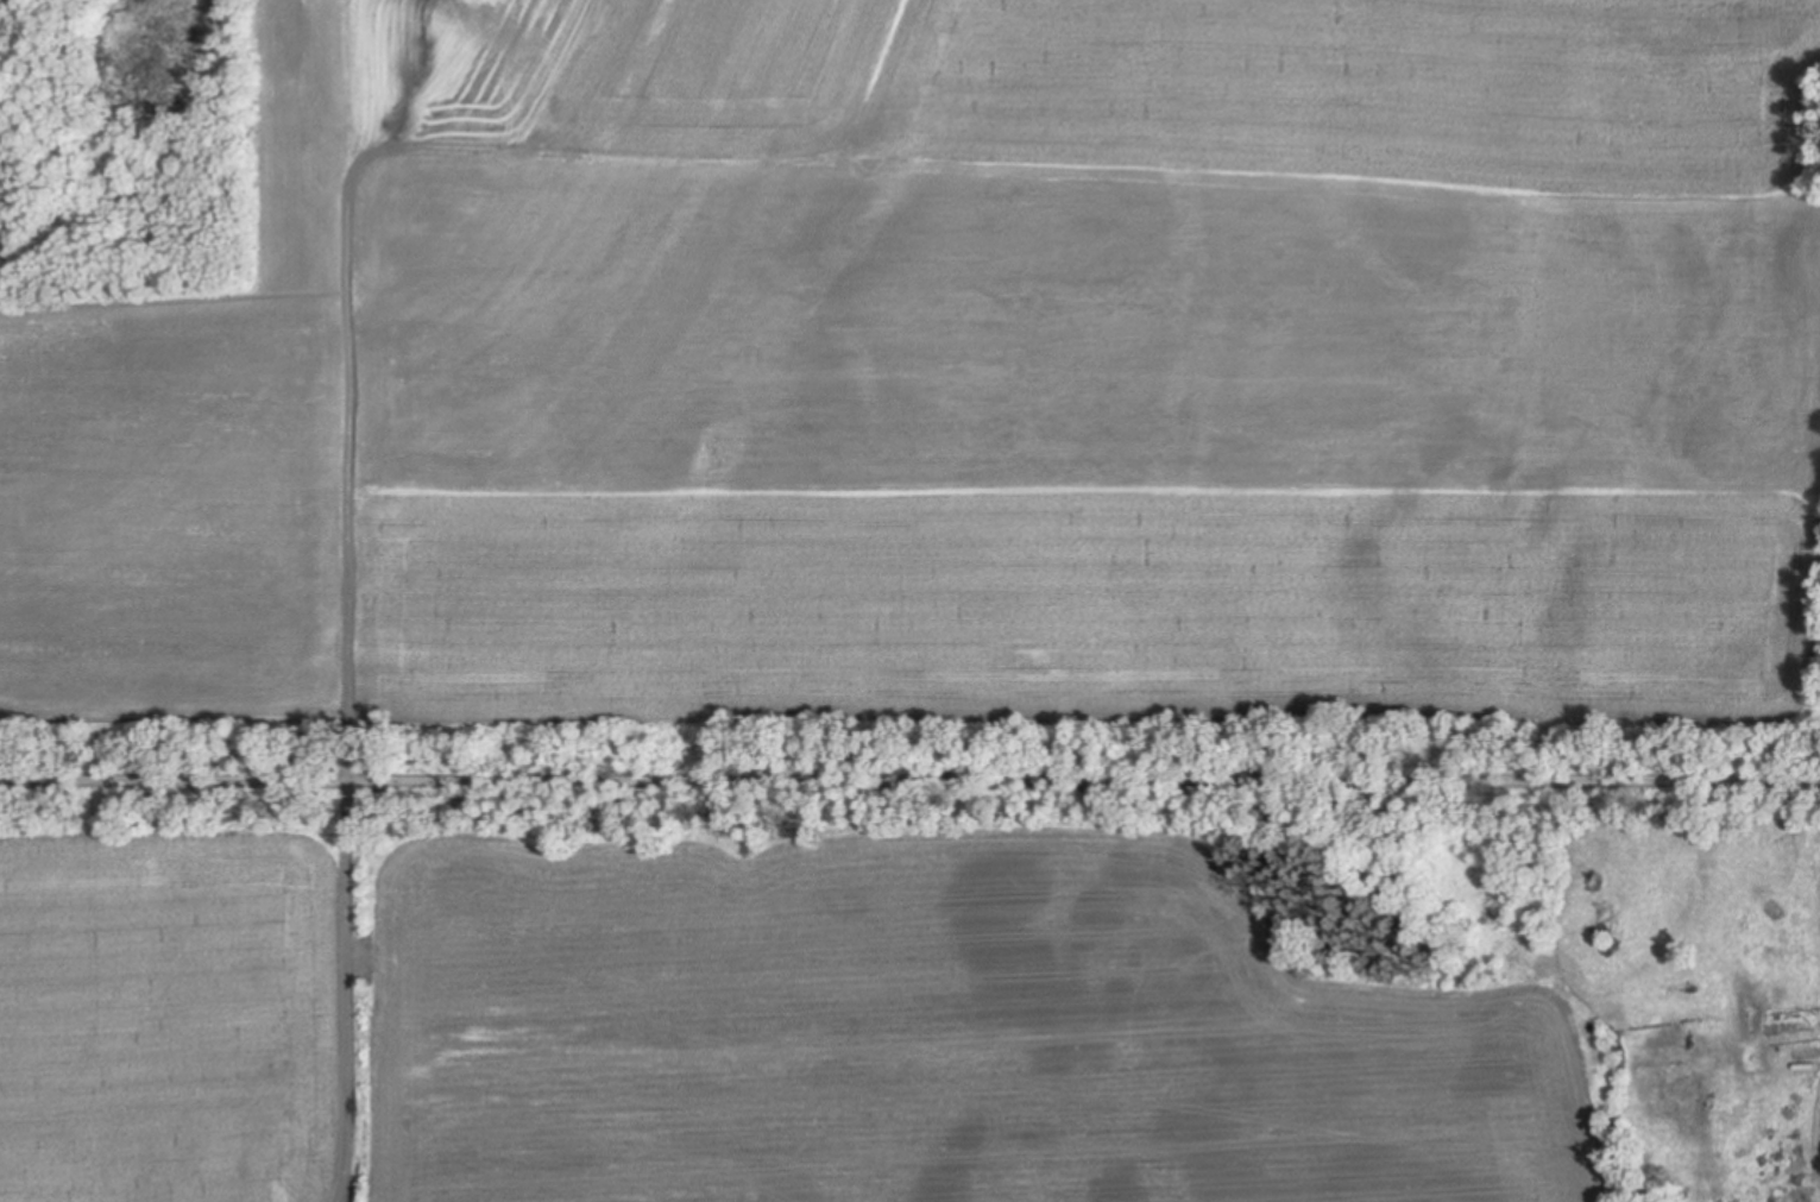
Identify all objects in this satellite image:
road: (909, 780)

